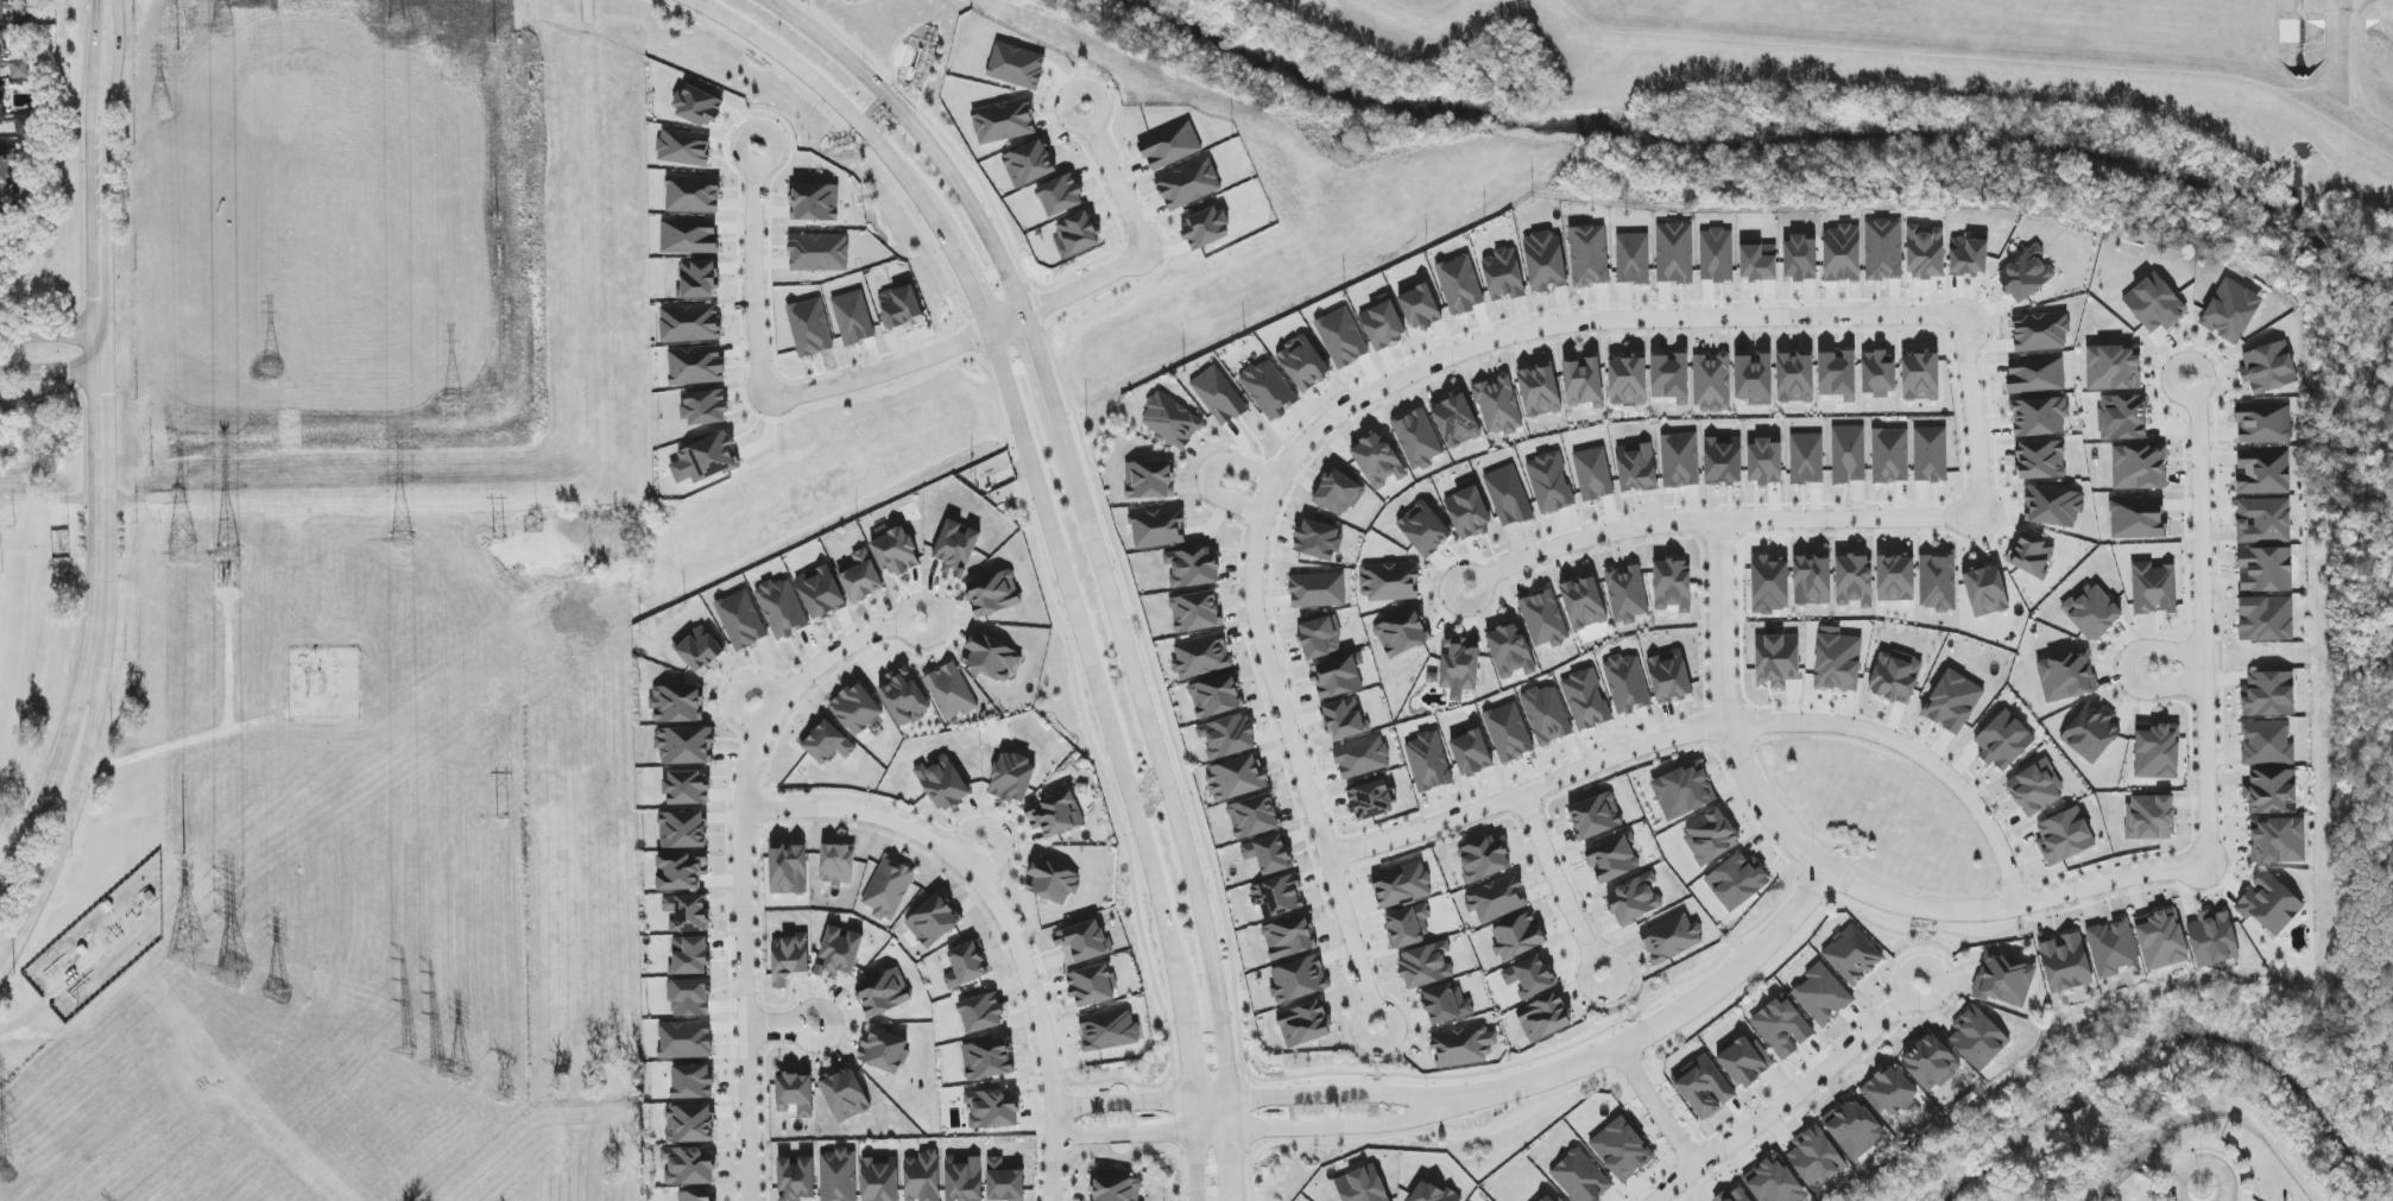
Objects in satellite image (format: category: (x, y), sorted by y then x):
building: (1, 7)
power tower: (396, 26)
power tower: (221, 29)
road: (2343, 48)
building: (11, 61)
power tower: (178, 67)
building: (1016, 67)
road: (823, 88)
road: (115, 101)
building: (2, 103)
building: (699, 107)
road: (1097, 114)
building: (1004, 121)
building: (24, 125)
road: (94, 132)
road: (922, 133)
building: (1170, 146)
building: (683, 147)
building: (1029, 163)
road: (768, 164)
building: (1173, 183)
road: (1116, 187)
building: (693, 194)
building: (1060, 196)
building: (815, 202)
building: (1, 215)
power tower: (497, 221)
road: (107, 234)
building: (689, 236)
building: (1883, 251)
building: (1674, 253)
building: (1925, 253)
building: (1842, 254)
building: (1589, 255)
building: (1717, 255)
building: (1969, 257)
building: (1800, 258)
building: (1633, 259)
building: (1545, 261)
road: (964, 272)
building: (1503, 274)
building: (2026, 274)
road: (751, 282)
road: (1079, 285)
building: (1460, 285)
building: (2154, 304)
building: (1420, 306)
building: (899, 308)
building: (2230, 311)
road: (326, 321)
building: (1383, 323)
building: (2040, 331)
road: (53, 336)
building: (1302, 364)
road: (898, 367)
building: (2113, 367)
power tower: (272, 368)
building: (2268, 368)
road: (53, 373)
building: (1879, 374)
road: (1042, 375)
building: (1837, 375)
building: (2035, 375)
building: (1920, 377)
building: (1671, 378)
building: (1795, 378)
building: (1754, 379)
building: (1628, 381)
building: (1583, 383)
building: (1712, 383)
building: (1268, 390)
building: (1540, 392)
road: (2201, 392)
building: (1219, 396)
power tower: (456, 400)
building: (1498, 405)
road: (1972, 410)
road: (1336, 413)
power tower: (182, 415)
building: (2039, 417)
building: (2122, 417)
building: (1172, 421)
building: (1456, 421)
building: (2263, 423)
building: (1416, 440)
road: (107, 448)
building: (1848, 454)
building: (1930, 454)
building: (1890, 456)
building: (708, 457)
building: (1806, 459)
building: (1680, 460)
building: (2040, 460)
building: (1377, 461)
building: (1723, 461)
building: (1764, 462)
building: (2139, 467)
building: (1636, 468)
building: (2262, 472)
road: (1208, 474)
building: (1593, 474)
building: (1148, 480)
building: (1549, 483)
building: (1508, 495)
building: (2053, 506)
building: (1467, 511)
building: (2136, 518)
road: (1728, 520)
building: (2262, 520)
building: (1157, 529)
building: (1423, 529)
power tower: (500, 539)
power tower: (403, 541)
building: (1318, 541)
building: (956, 548)
building: (896, 552)
power tower: (227, 555)
building: (2032, 555)
building: (1193, 567)
road: (1473, 569)
building: (2266, 569)
building: (860, 576)
building: (1895, 579)
building: (1812, 581)
building: (1854, 581)
building: (1389, 582)
building: (1938, 583)
building: (1672, 586)
building: (1769, 586)
building: (2153, 588)
building: (1317, 590)
building: (1985, 592)
building: (820, 593)
building: (993, 594)
building: (1627, 594)
building: (1583, 602)
road: (911, 605)
building: (782, 608)
building: (1195, 612)
building: (2091, 612)
building: (1543, 619)
building: (2266, 619)
road: (2204, 628)
building: (1401, 633)
road: (939, 650)
building: (1510, 651)
road: (1091, 653)
building: (991, 657)
building: (1201, 657)
building: (1778, 659)
building: (1837, 660)
road: (228, 664)
building: (1459, 665)
road: (2126, 668)
building: (2066, 676)
building: (1336, 677)
building: (1669, 677)
building: (1895, 677)
power tower: (187, 684)
building: (1627, 684)
road: (738, 691)
building: (951, 691)
building: (2268, 695)
building: (904, 696)
building: (1216, 696)
building: (1585, 700)
building: (1952, 702)
building: (676, 703)
building: (857, 709)
building: (1546, 715)
building: (1344, 719)
road: (1709, 729)
building: (1508, 732)
building: (2091, 733)
road: (239, 734)
road: (1743, 735)
building: (1227, 737)
building: (2003, 741)
building: (827, 742)
building: (2267, 742)
building: (684, 745)
building: (1470, 752)
building: (2157, 752)
building: (1362, 758)
building: (1428, 761)
road: (58, 764)
road: (1163, 764)
building: (1012, 778)
building: (1235, 779)
building: (943, 784)
building: (2035, 788)
building: (1681, 792)
building: (2271, 792)
building: (1371, 801)
road: (70, 804)
road: (759, 809)
building: (1055, 815)
building: (1254, 816)
building: (1595, 816)
power tower: (505, 817)
building: (2149, 817)
road: (757, 828)
road: (998, 832)
building: (1711, 836)
building: (2064, 836)
road: (204, 839)
building: (2278, 841)
building: (1268, 854)
building: (1483, 859)
building: (1612, 859)
building: (836, 865)
building: (788, 871)
building: (681, 872)
road: (1832, 872)
road: (744, 873)
road: (1555, 876)
building: (1052, 881)
building: (1737, 881)
building: (1401, 885)
building: (888, 890)
road: (1006, 892)
road: (1951, 896)
building: (1276, 897)
building: (1496, 898)
building: (1634, 899)
building: (2269, 904)
building: (687, 912)
road: (1002, 914)
building: (933, 922)
building: (1407, 927)
road: (992, 930)
building: (1517, 936)
building: (1288, 937)
building: (1671, 937)
building: (2212, 938)
building: (2160, 940)
building: (1082, 942)
building: (2111, 948)
power tower: (187, 949)
building: (839, 954)
road: (1606, 955)
building: (689, 956)
building: (1852, 956)
building: (789, 960)
building: (2065, 962)
building: (965, 966)
building: (1425, 966)
power tower: (232, 971)
building: (1529, 976)
building: (1299, 980)
building: (2003, 980)
building: (1091, 986)
road: (333, 992)
building: (883, 993)
power tower: (280, 994)
building: (1821, 995)
road: (1921, 1004)
building: (1445, 1005)
road: (112, 1006)
road: (807, 1010)
road: (1384, 1011)
building: (980, 1013)
road: (762, 1016)
road: (1671, 1017)
building: (1543, 1018)
road: (850, 1024)
building: (1303, 1024)
road: (774, 1028)
building: (1782, 1028)
building: (1109, 1030)
building: (1977, 1038)
building: (1461, 1047)
building: (884, 1051)
road: (1189, 1055)
power tower: (415, 1057)
building: (987, 1060)
building: (1744, 1061)
building: (1931, 1063)
power tower: (436, 1067)
power tower: (463, 1075)
building: (692, 1082)
building: (1703, 1087)
building: (1889, 1092)
building: (795, 1094)
building: (845, 1095)
road: (1261, 1095)
power tower: (506, 1096)
road: (1783, 1101)
road: (1656, 1106)
building: (992, 1108)
building: (689, 1124)
building: (1854, 1127)
road: (1263, 1129)
road: (1231, 1149)
road: (1248, 1149)
building: (1622, 1150)
road: (1125, 1157)
building: (1816, 1158)
building: (689, 1165)
road: (1198, 1165)
power tower: (2, 1172)
building: (839, 1176)
building: (922, 1177)
building: (1580, 1177)
building: (796, 1178)
building: (879, 1178)
building: (964, 1178)
building: (1004, 1181)
building: (1774, 1181)
building: (1362, 1186)
building: (1116, 1189)
building: (1432, 1193)
road: (2201, 1193)
building: (696, 1196)
building: (1732, 1196)
building: (1549, 1197)

